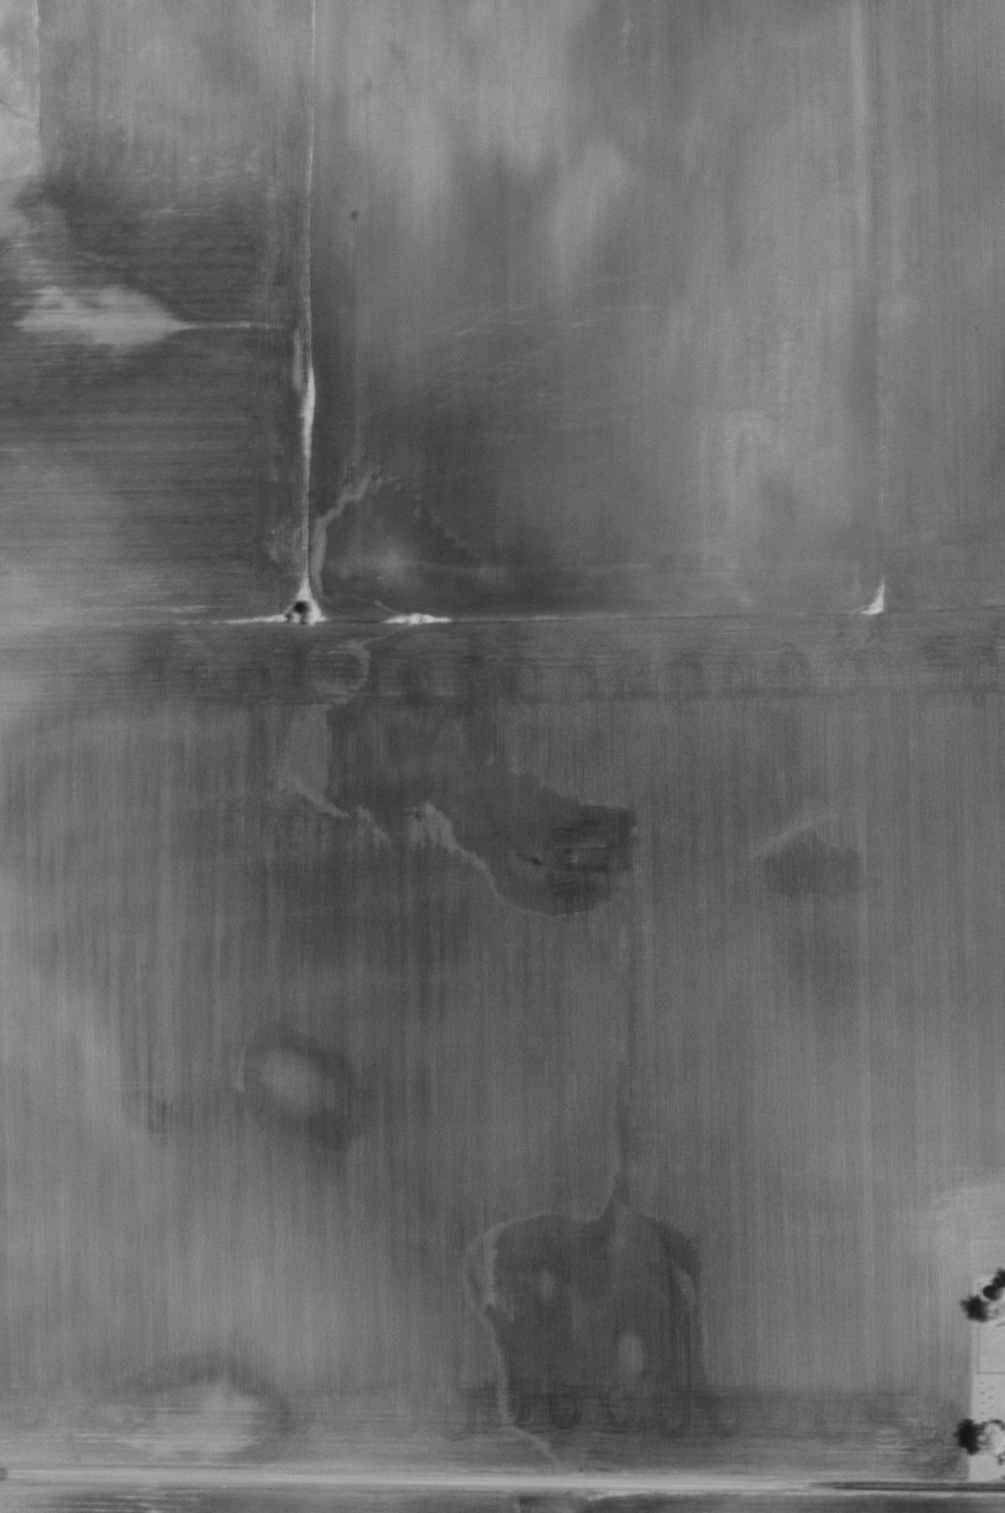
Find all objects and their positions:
road: (502, 1473)

